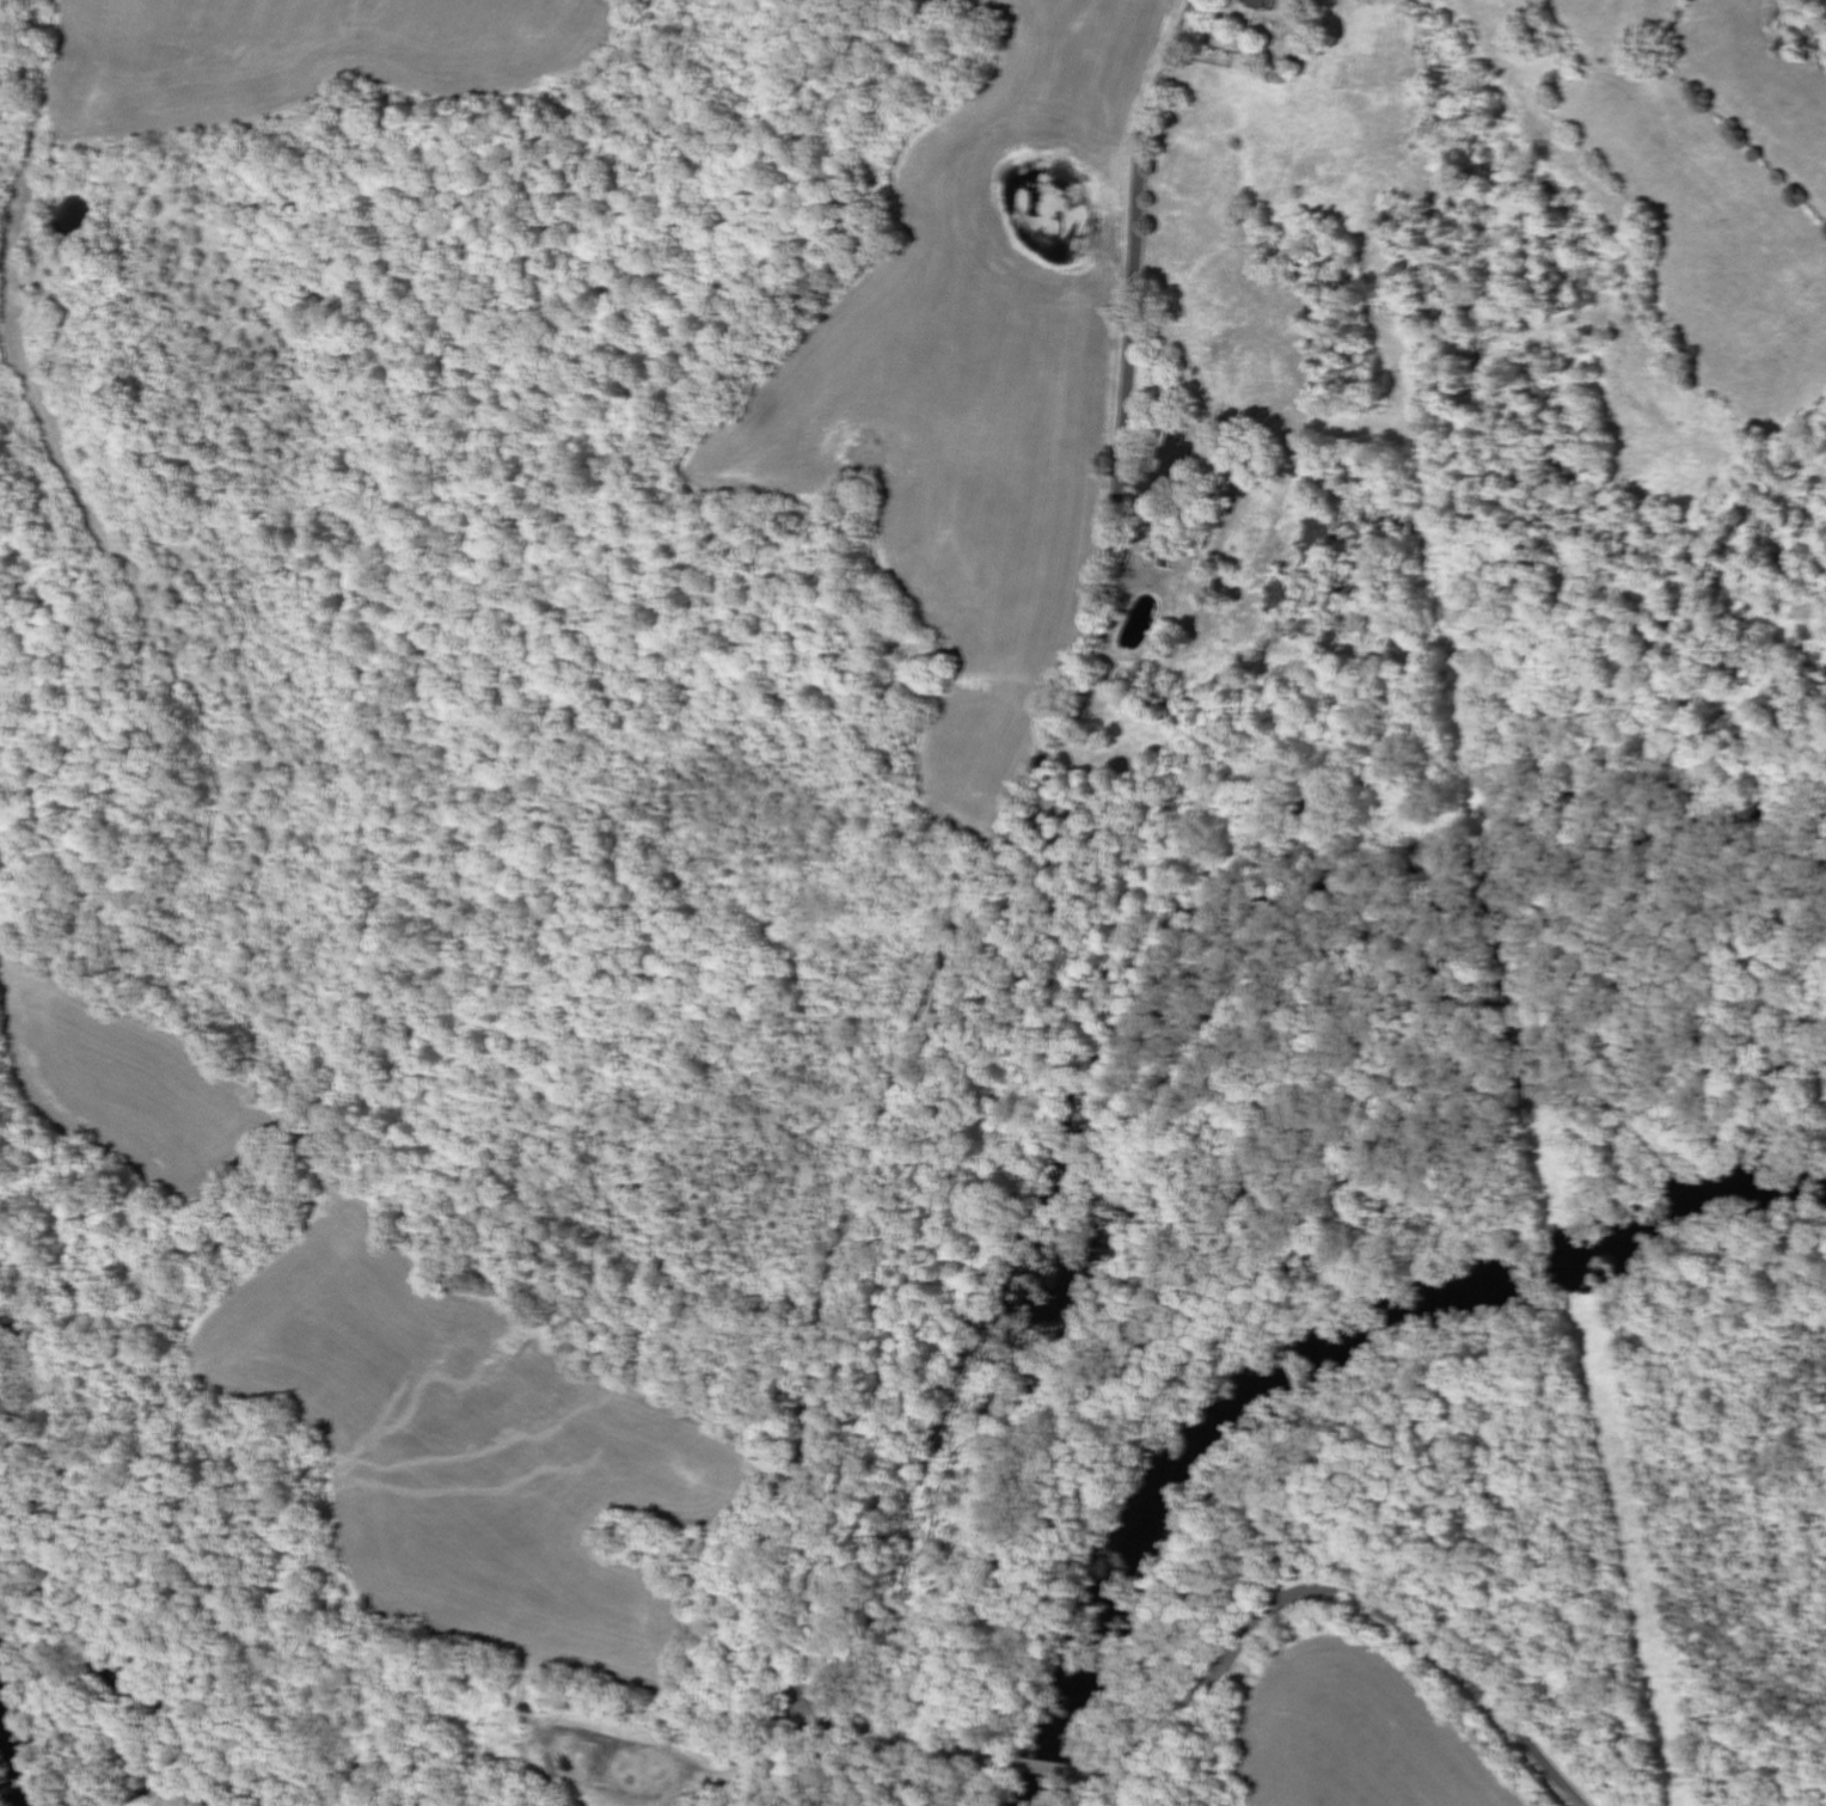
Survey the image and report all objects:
building: (1256, 4)
road: (963, 962)
river: (1312, 1357)
road: (1338, 1594)
river: (13, 1767)
road: (1058, 1770)
road: (700, 1779)
road: (674, 1793)

